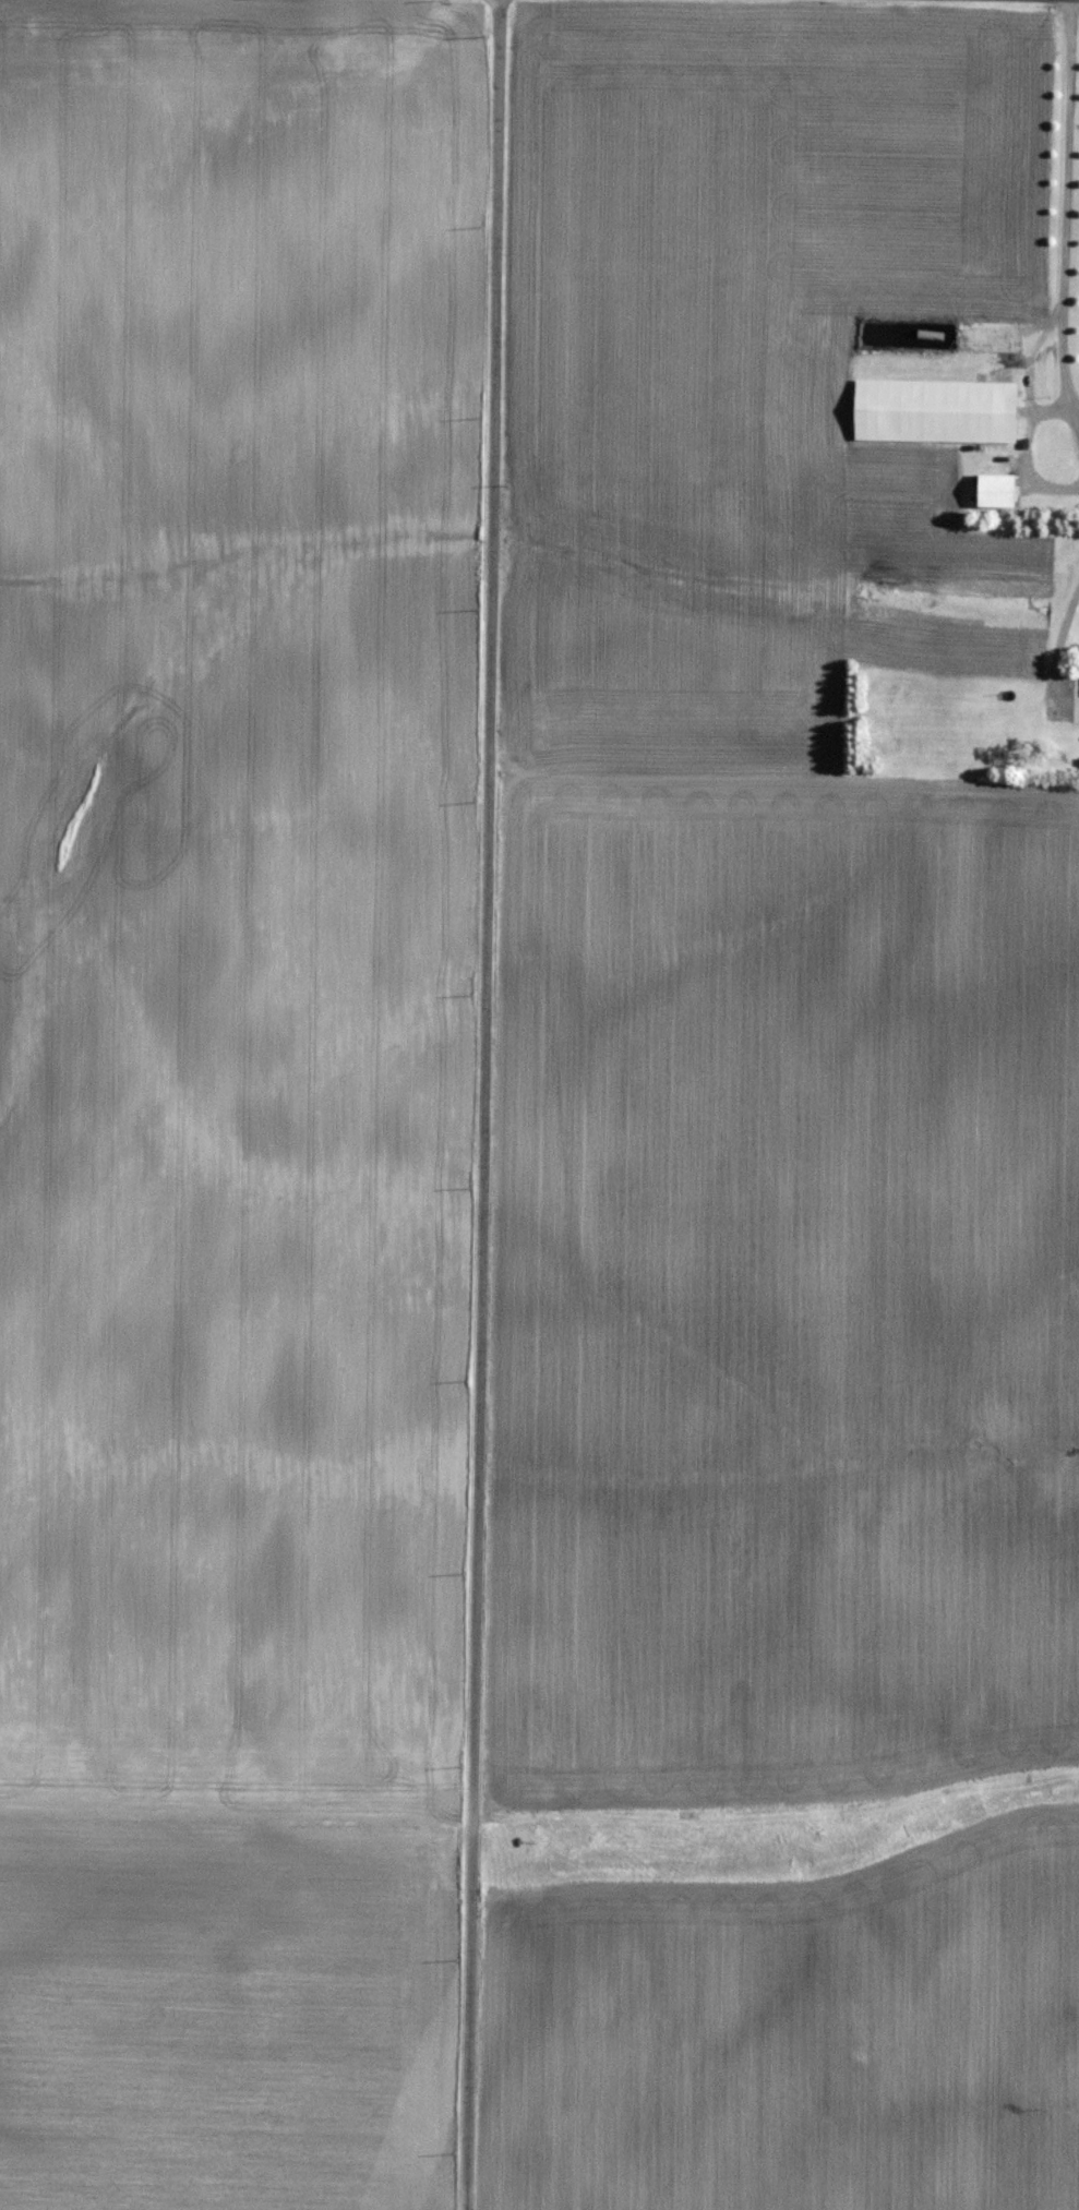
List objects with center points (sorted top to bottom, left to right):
road: (1062, 224)
road: (1023, 457)
road: (1060, 635)
road: (480, 1104)

